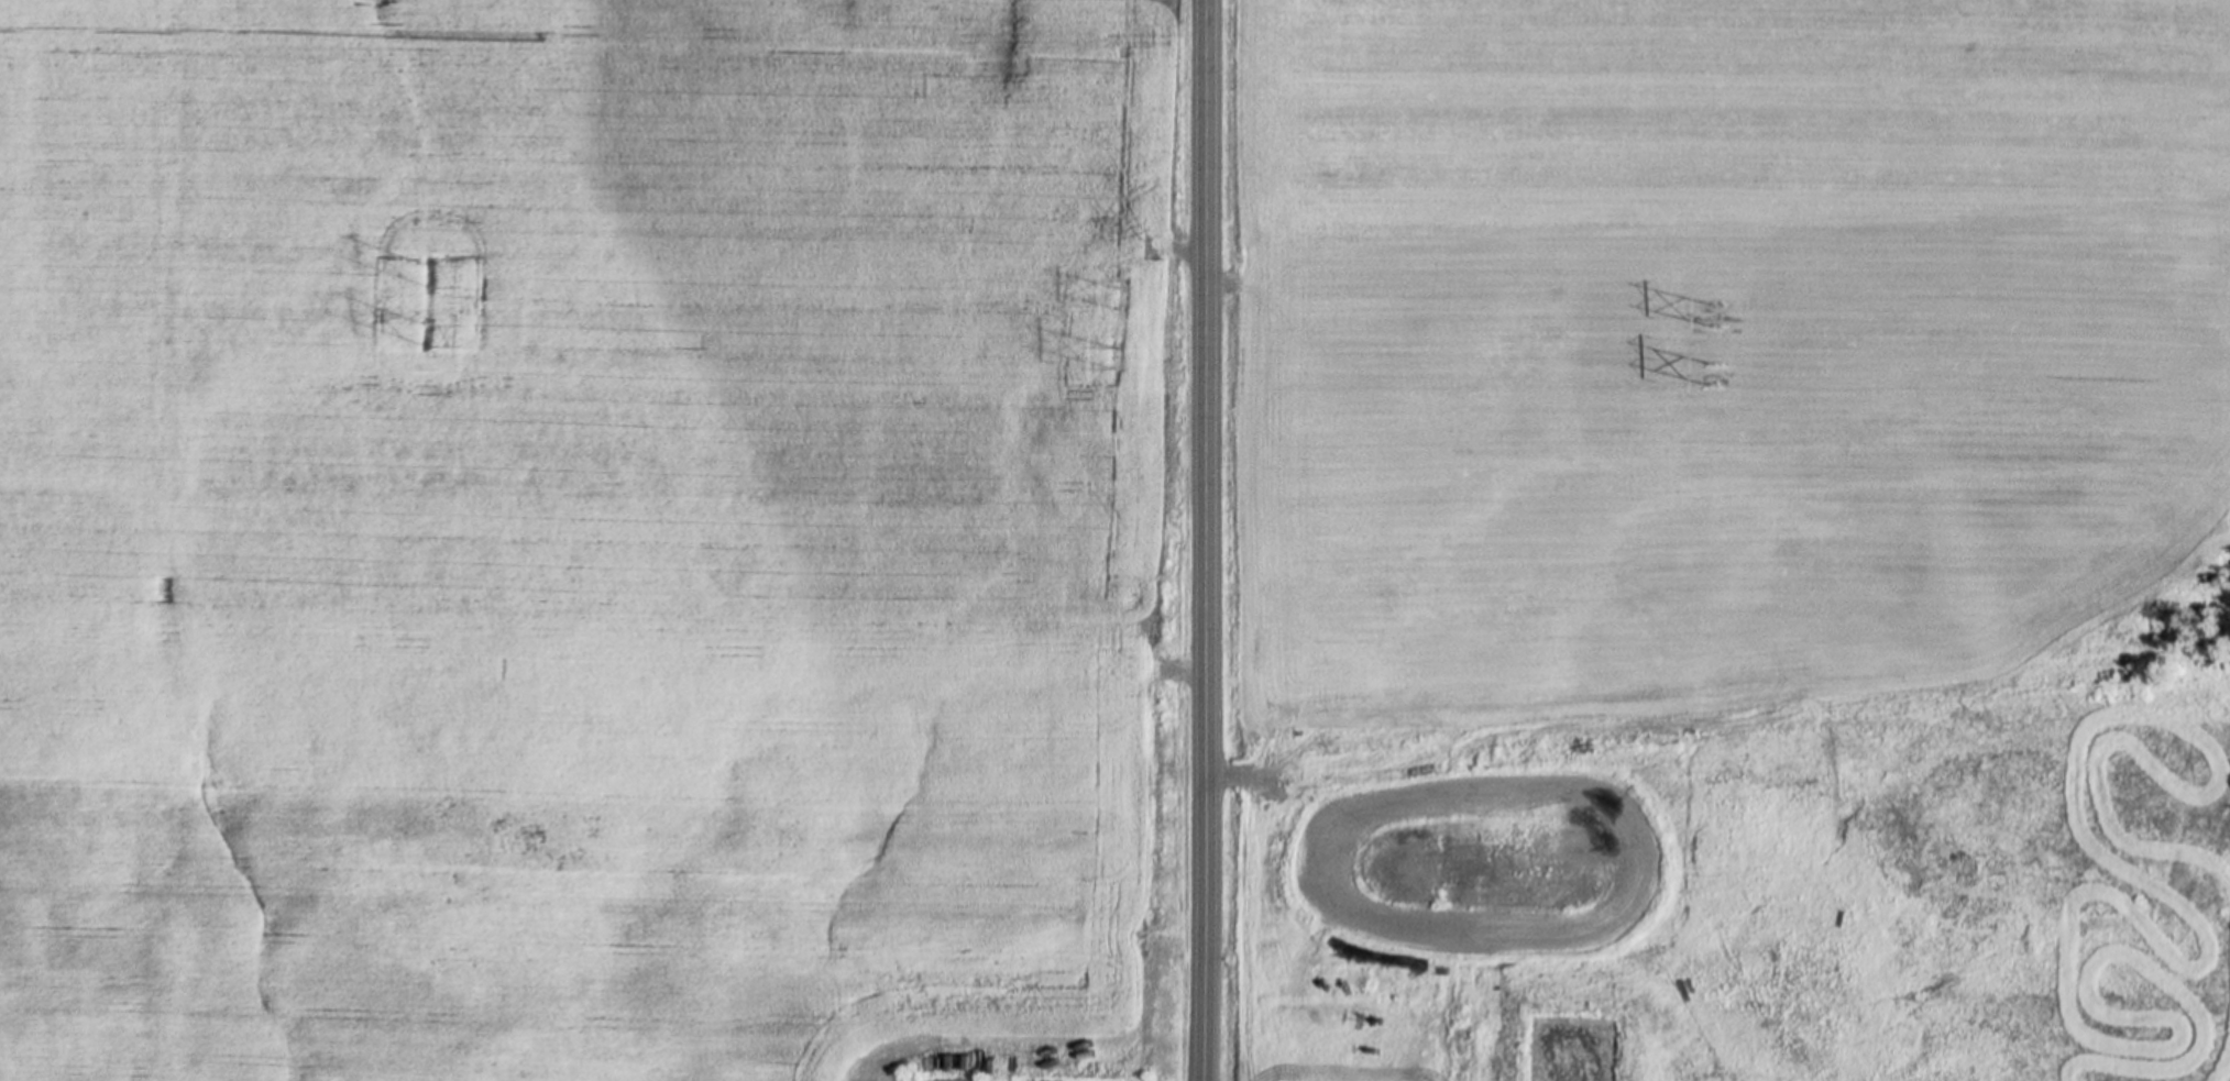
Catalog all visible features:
power tower: (426, 275)
power tower: (1123, 295)
power tower: (1713, 312)
power tower: (424, 332)
power tower: (1122, 356)
power tower: (1713, 371)
road: (1207, 540)
building: (1359, 903)
road: (1245, 907)
building: (1345, 929)
building: (1350, 985)

